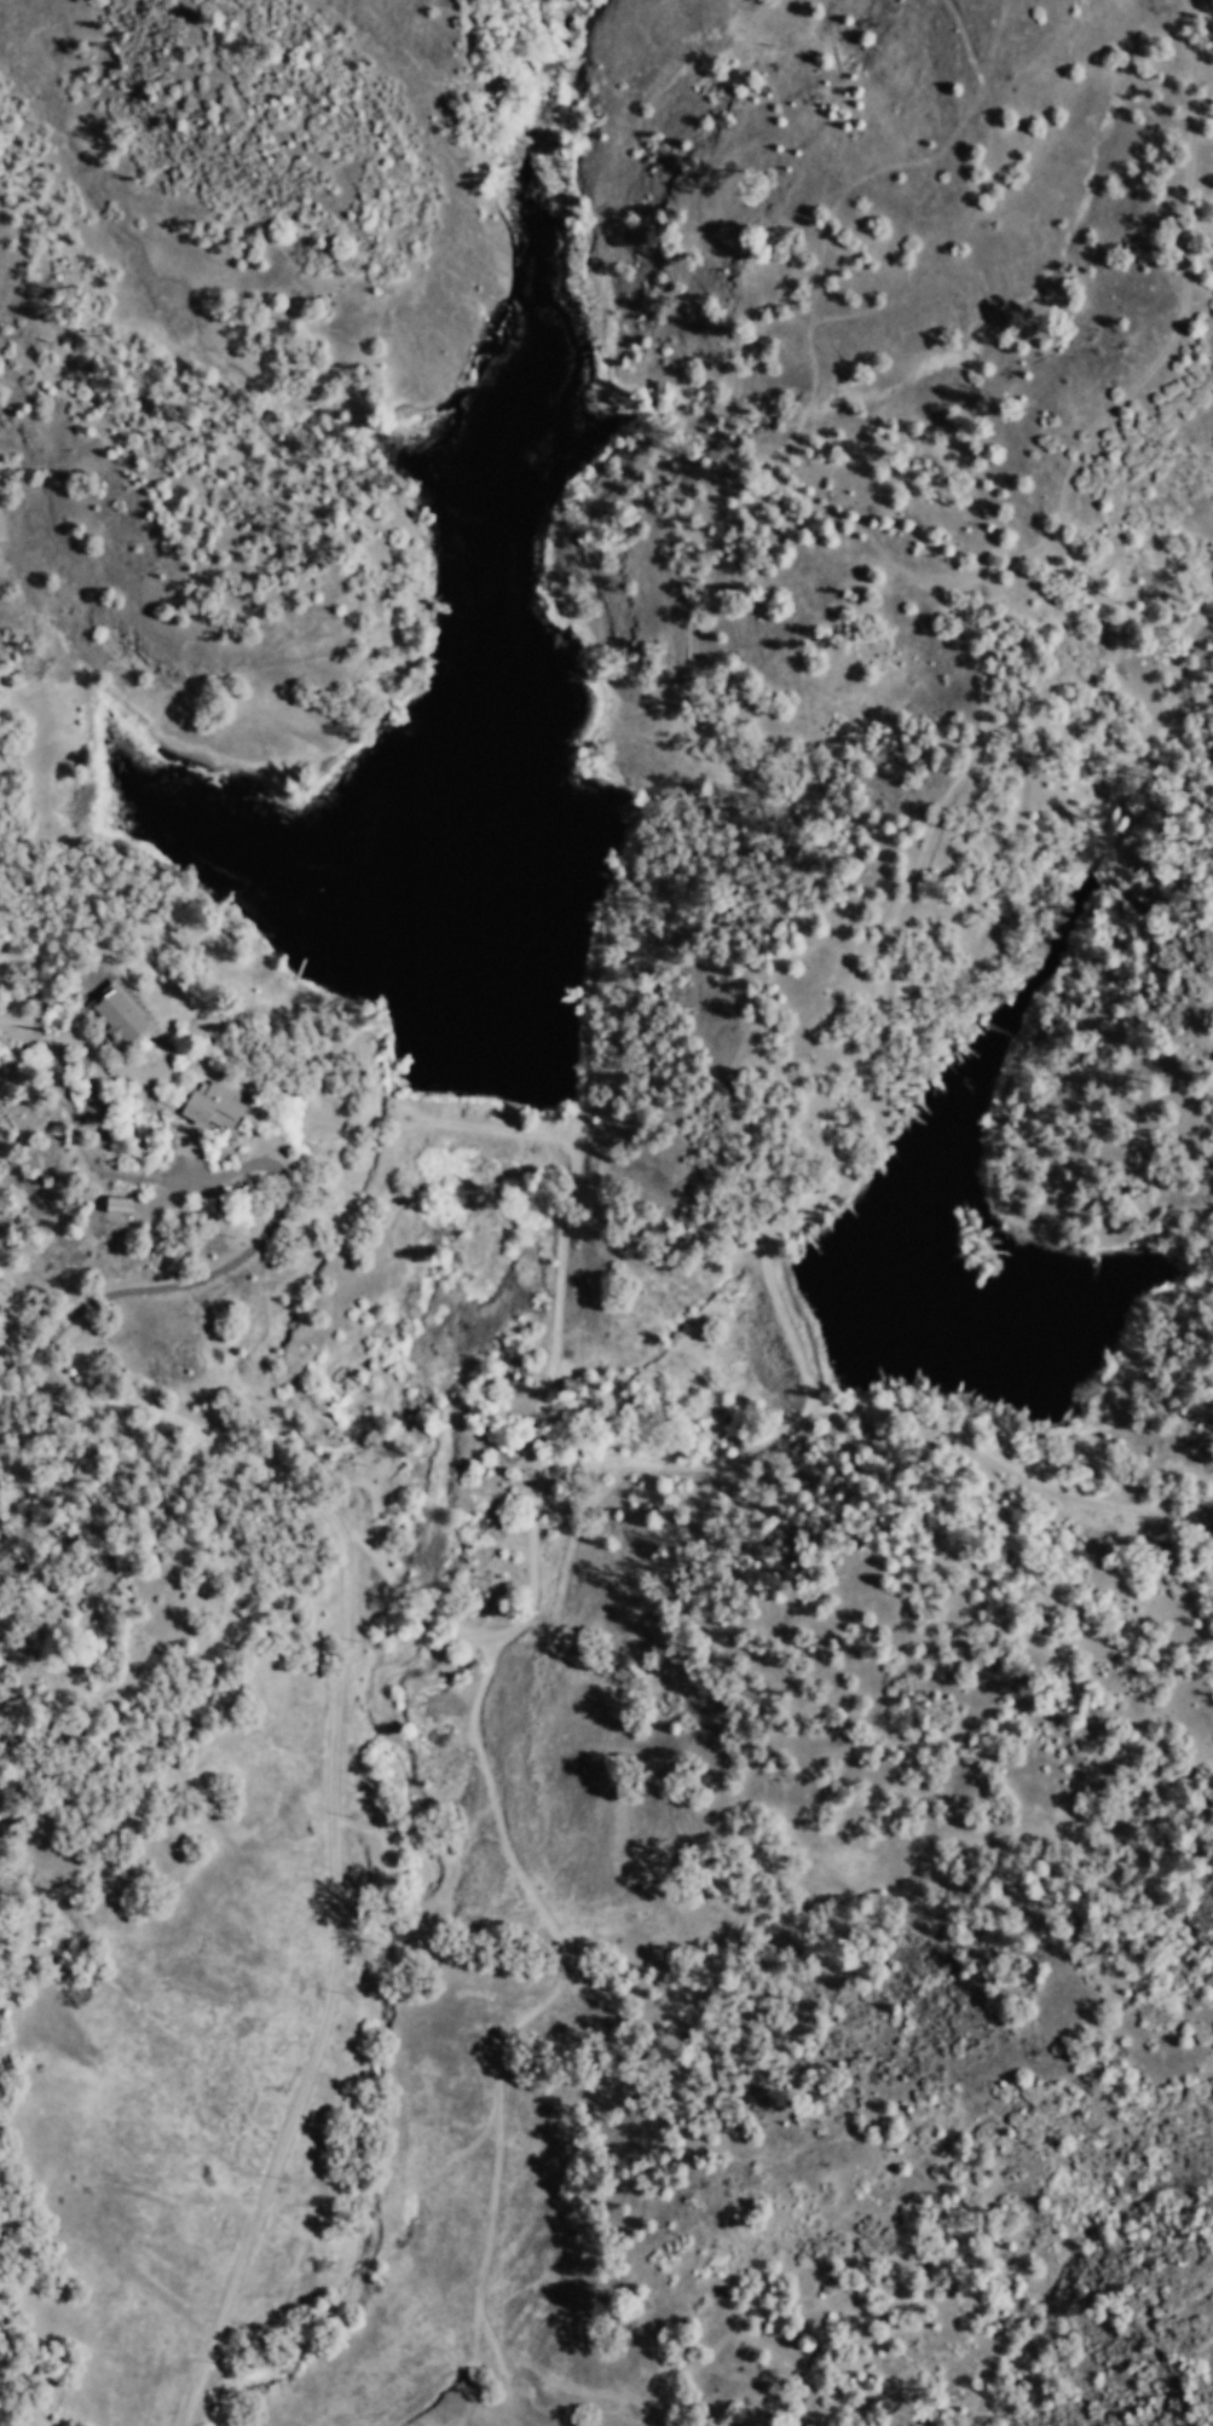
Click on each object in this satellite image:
building: (128, 1012)
building: (221, 1106)
dam: (484, 1106)
road: (337, 1993)

